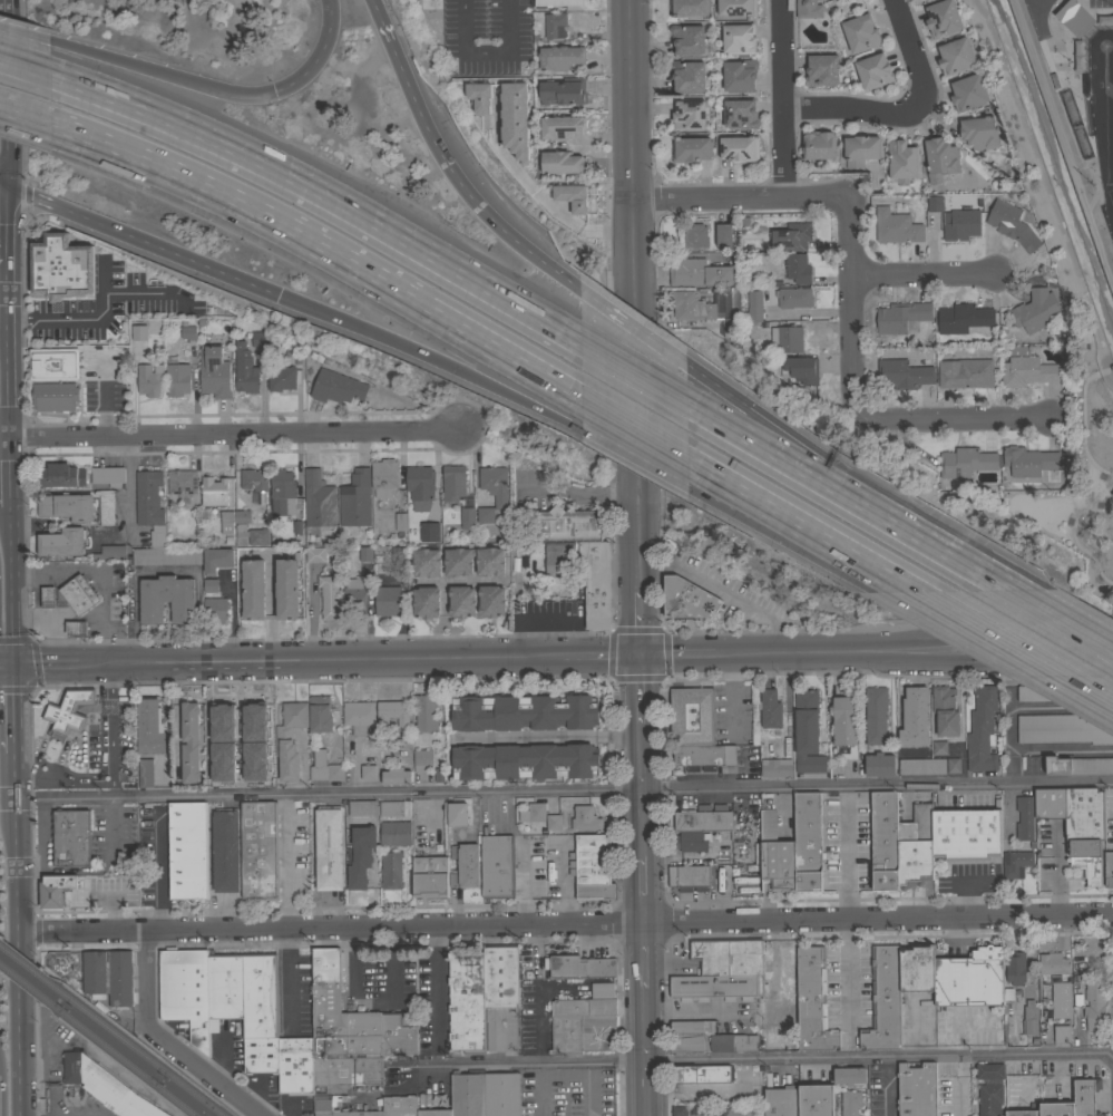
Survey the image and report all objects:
building: (557, 2)
building: (689, 7)
building: (735, 7)
building: (1067, 8)
building: (808, 9)
road: (6, 12)
building: (943, 18)
building: (555, 25)
building: (860, 33)
building: (687, 38)
building: (739, 38)
road: (25, 39)
road: (486, 52)
building: (956, 56)
building: (560, 57)
road: (320, 60)
building: (822, 70)
building: (873, 70)
road: (26, 75)
building: (740, 75)
building: (689, 76)
road: (159, 79)
park: (1100, 79)
building: (1061, 81)
building: (563, 91)
road: (1046, 91)
building: (507, 93)
building: (968, 93)
park: (1084, 95)
road: (781, 99)
road: (7, 108)
road: (906, 109)
building: (740, 113)
building: (689, 114)
road: (26, 123)
building: (562, 126)
building: (979, 132)
building: (505, 145)
building: (818, 145)
building: (691, 148)
building: (739, 148)
building: (860, 148)
road: (432, 155)
building: (939, 157)
road: (634, 158)
building: (902, 159)
building: (562, 162)
road: (3, 191)
road: (1047, 191)
traffic signals: (8, 192)
road: (22, 196)
building: (559, 196)
road: (741, 198)
building: (935, 203)
road: (50, 206)
road: (8, 213)
road: (19, 214)
building: (961, 224)
building: (1012, 224)
building: (896, 225)
building: (715, 234)
building: (723, 234)
building: (695, 235)
building: (791, 236)
road: (169, 253)
road: (7, 262)
building: (61, 266)
building: (797, 268)
road: (445, 270)
building: (697, 272)
road: (922, 273)
road: (3, 291)
road: (135, 294)
building: (793, 297)
building: (694, 304)
road: (849, 304)
building: (1036, 310)
road: (7, 311)
building: (901, 316)
building: (963, 318)
road: (82, 320)
building: (136, 326)
building: (730, 327)
building: (187, 330)
building: (257, 339)
building: (789, 340)
road: (650, 341)
road: (488, 343)
building: (274, 346)
building: (1016, 350)
building: (106, 355)
building: (61, 363)
road: (1103, 368)
building: (245, 369)
building: (802, 369)
building: (1026, 370)
building: (214, 372)
building: (904, 372)
building: (965, 372)
building: (283, 378)
building: (149, 379)
building: (177, 379)
road: (8, 385)
building: (335, 387)
building: (55, 396)
road: (1048, 400)
road: (922, 404)
road: (946, 405)
road: (948, 418)
road: (578, 431)
road: (242, 435)
road: (11, 437)
road: (792, 439)
building: (1028, 460)
road: (1097, 460)
building: (966, 462)
road: (9, 469)
building: (61, 475)
building: (108, 475)
building: (383, 476)
building: (254, 479)
building: (182, 482)
building: (452, 482)
building: (420, 485)
road: (1088, 486)
park: (1074, 487)
building: (214, 491)
building: (491, 491)
building: (282, 492)
road: (580, 492)
building: (355, 498)
building: (319, 499)
building: (66, 506)
building: (106, 506)
building: (467, 517)
building: (226, 522)
building: (400, 524)
building: (567, 525)
building: (157, 526)
building: (241, 526)
building: (429, 531)
road: (918, 535)
building: (62, 542)
building: (107, 552)
building: (365, 553)
building: (315, 554)
building: (398, 554)
building: (558, 556)
building: (217, 560)
building: (426, 562)
building: (458, 565)
road: (637, 567)
road: (45, 570)
building: (596, 582)
road: (11, 583)
building: (209, 585)
building: (286, 588)
building: (253, 589)
building: (241, 590)
building: (274, 590)
building: (78, 594)
gas station: (78, 594)
building: (354, 594)
building: (329, 596)
building: (48, 598)
building: (686, 599)
road: (57, 600)
building: (166, 600)
building: (388, 600)
building: (461, 601)
building: (491, 601)
building: (426, 602)
road: (102, 609)
building: (215, 610)
road: (233, 618)
road: (1061, 619)
road: (39, 623)
road: (61, 623)
road: (76, 623)
road: (96, 623)
road: (891, 625)
building: (76, 628)
road: (98, 630)
road: (61, 631)
road: (76, 631)
road: (911, 648)
road: (1011, 648)
road: (110, 651)
road: (673, 652)
traffic signals: (636, 653)
road: (579, 654)
road: (301, 659)
road: (7, 664)
traffic signals: (13, 664)
road: (46, 664)
road: (35, 666)
road: (109, 673)
road: (62, 675)
road: (879, 675)
road: (733, 692)
building: (1036, 693)
road: (109, 696)
road: (13, 703)
building: (769, 708)
building: (68, 710)
building: (945, 710)
building: (523, 712)
building: (320, 714)
building: (392, 714)
building: (424, 714)
building: (876, 715)
building: (358, 716)
building: (692, 716)
building: (915, 718)
building: (219, 722)
building: (844, 725)
building: (135, 727)
building: (150, 727)
road: (70, 728)
building: (1063, 728)
road: (45, 729)
building: (982, 729)
building: (258, 731)
building: (807, 732)
road: (551, 735)
building: (290, 738)
parking lot: (111, 739)
building: (191, 741)
building: (939, 747)
building: (701, 757)
building: (422, 759)
building: (177, 760)
building: (524, 761)
building: (1077, 764)
building: (879, 765)
building: (953, 765)
building: (921, 766)
building: (324, 767)
building: (775, 767)
building: (218, 769)
road: (13, 770)
road: (111, 772)
building: (368, 772)
building: (145, 773)
road: (26, 775)
road: (47, 775)
building: (254, 775)
building: (396, 775)
road: (640, 787)
road: (113, 788)
road: (564, 789)
road: (7, 798)
building: (1048, 803)
building: (362, 807)
building: (391, 808)
building: (533, 813)
building: (457, 814)
building: (446, 815)
building: (1024, 817)
building: (585, 818)
building: (704, 818)
building: (554, 822)
building: (1085, 829)
building: (396, 833)
building: (966, 833)
building: (71, 837)
building: (885, 840)
building: (692, 841)
building: (808, 841)
building: (329, 847)
building: (915, 847)
building: (225, 850)
building: (260, 850)
building: (187, 851)
road: (846, 851)
building: (775, 854)
building: (360, 855)
road: (157, 861)
road: (291, 861)
building: (1015, 863)
building: (465, 865)
road: (29, 866)
building: (497, 866)
building: (590, 867)
building: (1109, 868)
building: (390, 870)
road: (78, 871)
building: (691, 875)
building: (430, 876)
building: (666, 876)
building: (316, 880)
building: (55, 889)
road: (969, 896)
road: (224, 905)
road: (565, 923)
building: (728, 955)
road: (17, 957)
building: (1053, 963)
railway: (23, 964)
building: (578, 967)
building: (917, 968)
building: (1015, 969)
road: (290, 973)
building: (787, 974)
building: (108, 976)
building: (970, 978)
railway: (23, 980)
building: (716, 987)
road: (849, 987)
building: (224, 988)
building: (185, 991)
building: (1008, 993)
building: (260, 994)
building: (500, 997)
building: (466, 1000)
building: (883, 1000)
building: (1061, 1000)
building: (812, 1001)
building: (587, 1002)
building: (328, 1003)
building: (773, 1005)
building: (1094, 1007)
building: (1031, 1017)
road: (643, 1019)
building: (364, 1032)
building: (1062, 1032)
building: (583, 1033)
building: (397, 1035)
building: (775, 1035)
building: (705, 1038)
road: (163, 1040)
building: (295, 1044)
railway: (135, 1049)
building: (261, 1055)
railway: (123, 1057)
road: (752, 1057)
building: (346, 1070)
road: (547, 1070)
building: (989, 1070)
building: (295, 1073)
building: (702, 1074)
building: (849, 1075)
road: (565, 1076)
building: (830, 1076)
building: (105, 1086)
road: (890, 1086)
building: (917, 1089)
building: (485, 1093)
building: (1085, 1096)
building: (989, 1098)
building: (306, 1099)
building: (816, 1100)
building: (781, 1102)
building: (850, 1103)
building: (399, 1105)
building: (1055, 1108)
building: (342, 1109)
building: (678, 1110)
building: (433, 1113)
building: (1022, 1113)

